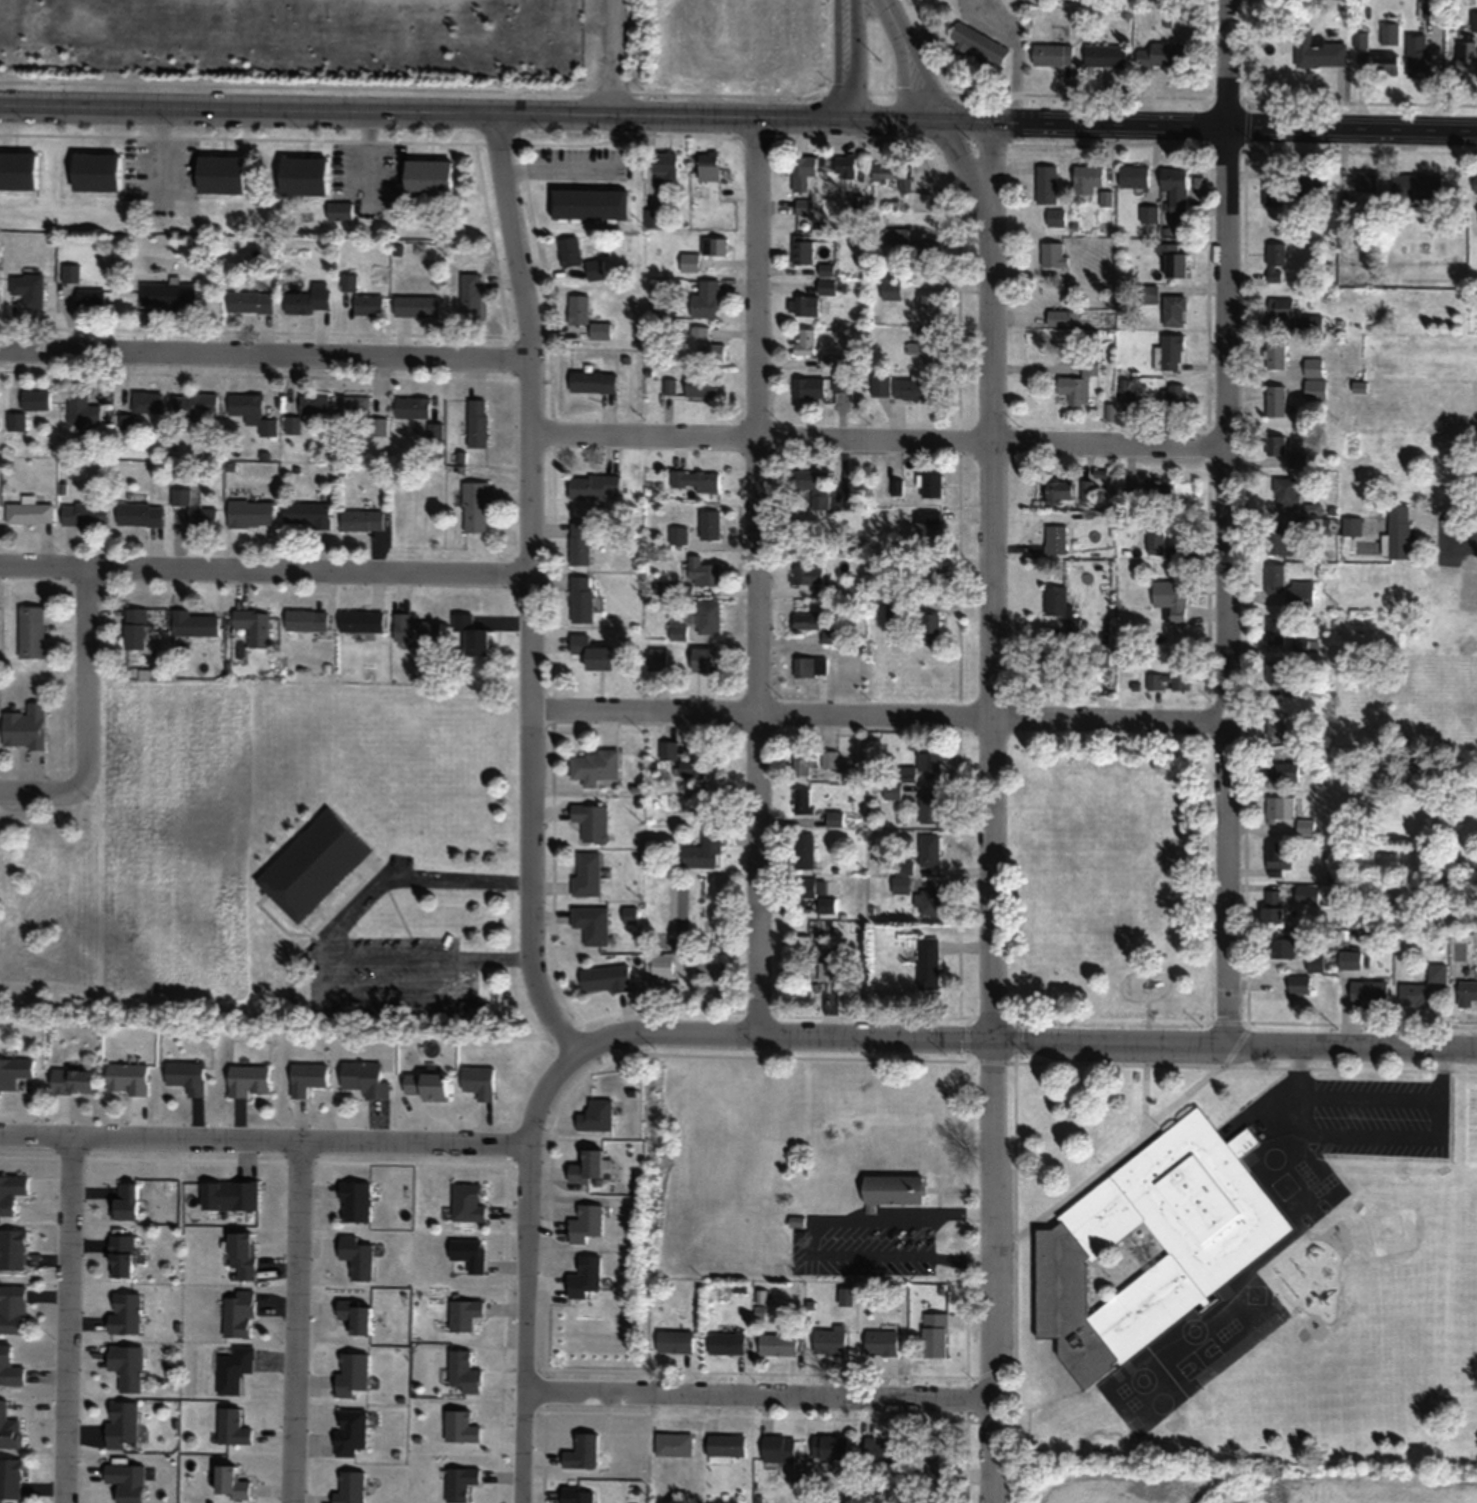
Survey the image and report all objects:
building: (1474, 21)
building: (1390, 33)
building: (980, 45)
building: (1320, 52)
building: (1053, 54)
building: (1163, 54)
building: (1106, 55)
building: (1419, 55)
road: (614, 56)
road: (846, 58)
building: (1466, 58)
building: (1383, 63)
road: (1226, 64)
road: (422, 109)
road: (937, 114)
road: (1035, 123)
road: (1351, 131)
building: (709, 165)
building: (845, 165)
building: (664, 166)
road: (560, 168)
building: (19, 170)
building: (803, 171)
building: (98, 172)
building: (224, 174)
building: (306, 175)
building: (891, 176)
building: (1135, 176)
building: (431, 178)
building: (1088, 178)
building: (1367, 181)
building: (1316, 182)
building: (1475, 183)
building: (1047, 184)
building: (1417, 186)
building: (1175, 191)
building: (1273, 191)
building: (589, 204)
building: (804, 207)
building: (341, 211)
building: (1149, 214)
building: (1055, 217)
building: (654, 218)
building: (897, 235)
building: (714, 246)
building: (802, 250)
building: (570, 251)
building: (929, 253)
building: (1054, 254)
building: (1174, 260)
building: (689, 261)
building: (1276, 261)
building: (595, 269)
building: (826, 269)
building: (72, 273)
building: (350, 282)
building: (827, 286)
building: (30, 289)
building: (891, 289)
building: (169, 295)
building: (474, 296)
building: (92, 300)
building: (309, 300)
building: (706, 300)
building: (251, 303)
building: (928, 304)
building: (370, 305)
building: (803, 305)
building: (417, 306)
building: (1281, 308)
building: (1174, 310)
building: (587, 317)
building: (1062, 318)
building: (1312, 322)
building: (805, 341)
building: (925, 343)
building: (1170, 353)
building: (711, 354)
building: (1276, 354)
building: (830, 360)
road: (265, 361)
building: (1314, 367)
building: (594, 382)
building: (842, 382)
building: (880, 385)
building: (701, 386)
building: (1078, 386)
building: (670, 387)
building: (808, 387)
building: (914, 389)
building: (1316, 389)
building: (1128, 390)
building: (1173, 396)
building: (1276, 401)
building: (148, 403)
building: (195, 405)
building: (316, 406)
building: (355, 406)
building: (413, 407)
building: (84, 411)
building: (253, 412)
building: (478, 423)
building: (1276, 444)
road: (878, 446)
building: (1298, 460)
building: (695, 480)
building: (932, 485)
building: (599, 486)
building: (815, 487)
building: (1086, 489)
building: (1059, 491)
building: (1288, 491)
building: (1158, 494)
building: (476, 507)
building: (30, 514)
building: (86, 515)
building: (141, 515)
building: (252, 515)
building: (308, 515)
building: (203, 517)
building: (363, 520)
building: (710, 524)
building: (928, 526)
building: (1353, 526)
building: (1398, 533)
building: (679, 535)
building: (1155, 538)
building: (1056, 539)
road: (1446, 539)
road: (1462, 539)
building: (1282, 541)
building: (580, 543)
building: (703, 572)
building: (929, 573)
road: (757, 574)
building: (807, 575)
road: (265, 576)
building: (1276, 576)
road: (531, 585)
road: (1226, 585)
building: (1300, 593)
building: (582, 599)
building: (1171, 599)
building: (1061, 606)
building: (895, 610)
building: (308, 620)
building: (806, 620)
building: (362, 621)
building: (698, 621)
building: (195, 625)
building: (256, 627)
building: (931, 627)
building: (137, 629)
building: (416, 629)
building: (1276, 630)
building: (33, 632)
building: (1305, 645)
building: (593, 652)
building: (659, 659)
building: (706, 659)
building: (811, 665)
building: (1276, 672)
building: (1169, 680)
road: (879, 720)
road: (86, 723)
building: (1276, 724)
building: (26, 727)
building: (829, 759)
building: (929, 760)
building: (682, 761)
building: (806, 761)
building: (596, 766)
building: (1285, 771)
building: (893, 791)
building: (804, 801)
building: (930, 807)
building: (1281, 808)
road: (991, 812)
building: (835, 818)
building: (593, 822)
building: (1306, 826)
building: (930, 850)
building: (806, 851)
building: (704, 852)
building: (1278, 858)
building: (315, 866)
park: (1108, 873)
building: (587, 874)
road: (461, 881)
building: (818, 894)
building: (1308, 895)
building: (930, 902)
building: (1274, 906)
road: (348, 910)
building: (593, 924)
building: (1282, 948)
road: (433, 957)
building: (1351, 959)
building: (929, 965)
building: (828, 972)
building: (1437, 972)
building: (663, 975)
building: (607, 978)
road: (1206, 980)
building: (1301, 984)
building: (1370, 992)
building: (849, 993)
building: (1467, 993)
building: (1415, 995)
road: (665, 1030)
road: (1116, 1040)
road: (1087, 1062)
road: (1301, 1069)
building: (15, 1072)
road: (1444, 1072)
building: (188, 1076)
building: (309, 1078)
building: (128, 1079)
building: (366, 1079)
building: (75, 1081)
building: (250, 1081)
building: (479, 1082)
building: (428, 1086)
road: (1183, 1094)
building: (597, 1115)
parking lot: (1351, 1115)
road: (1436, 1136)
road: (264, 1138)
road: (1107, 1163)
building: (588, 1167)
building: (893, 1190)
building: (12, 1193)
building: (231, 1195)
building: (356, 1201)
building: (127, 1202)
building: (469, 1202)
building: (586, 1223)
building: (1152, 1245)
building: (14, 1249)
building: (244, 1254)
building: (470, 1254)
building: (123, 1256)
building: (358, 1257)
road: (528, 1268)
building: (585, 1277)
building: (847, 1298)
building: (14, 1309)
building: (126, 1313)
building: (241, 1314)
building: (466, 1314)
building: (357, 1315)
building: (1227, 1317)
road: (67, 1319)
road: (293, 1321)
building: (937, 1334)
building: (675, 1341)
building: (831, 1342)
building: (727, 1343)
building: (882, 1343)
building: (779, 1344)
building: (129, 1366)
building: (10, 1368)
building: (236, 1369)
building: (465, 1372)
building: (353, 1373)
road: (800, 1374)
road: (760, 1395)
road: (754, 1416)
building: (123, 1424)
building: (462, 1426)
building: (235, 1427)
building: (10, 1428)
building: (352, 1431)
building: (675, 1444)
building: (831, 1447)
building: (726, 1448)
building: (780, 1448)
building: (882, 1450)
building: (584, 1452)
building: (938, 1462)
building: (12, 1479)
building: (128, 1482)
building: (234, 1483)
building: (463, 1483)
crop: (1237, 1485)
building: (351, 1487)
building: (580, 1494)

